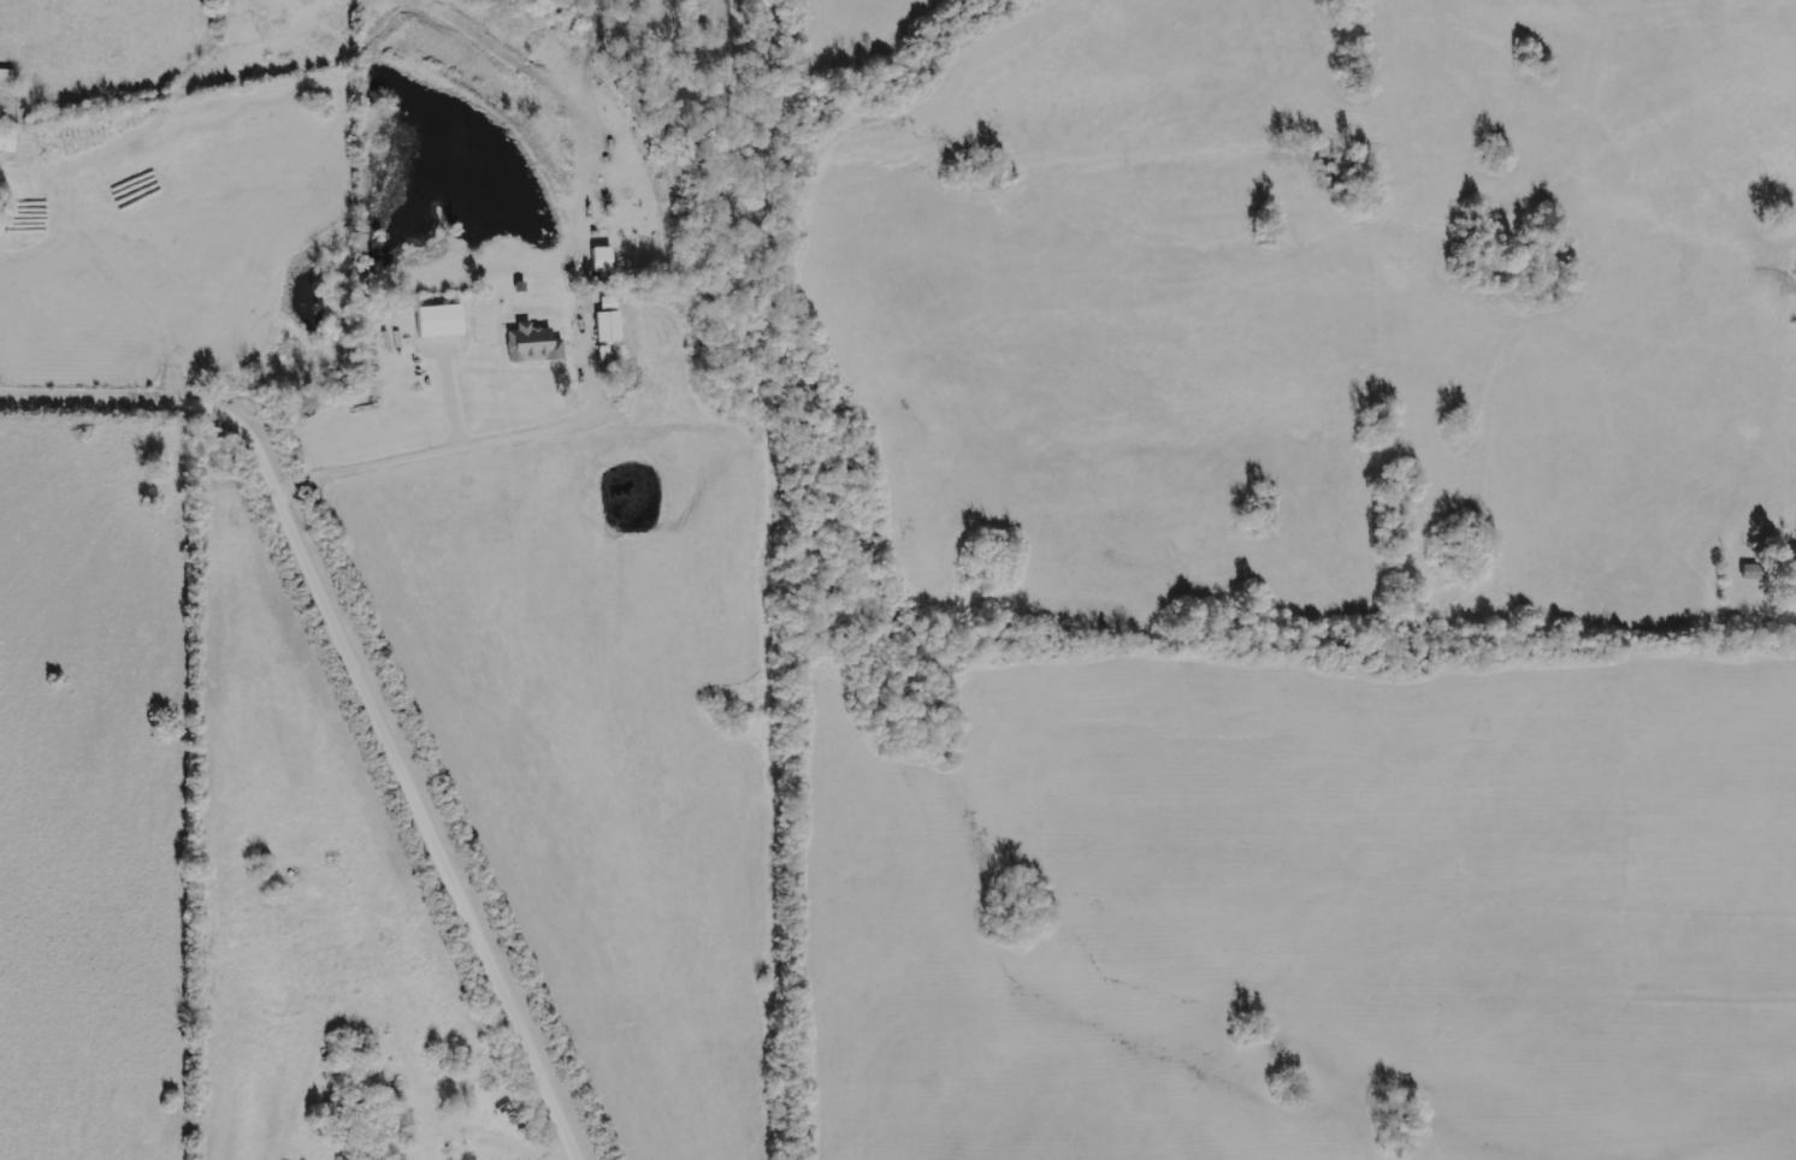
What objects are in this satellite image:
building: (7, 140)
building: (602, 259)
building: (609, 302)
building: (439, 321)
building: (608, 325)
building: (533, 345)
road: (459, 444)
building: (1751, 572)
road: (367, 670)

